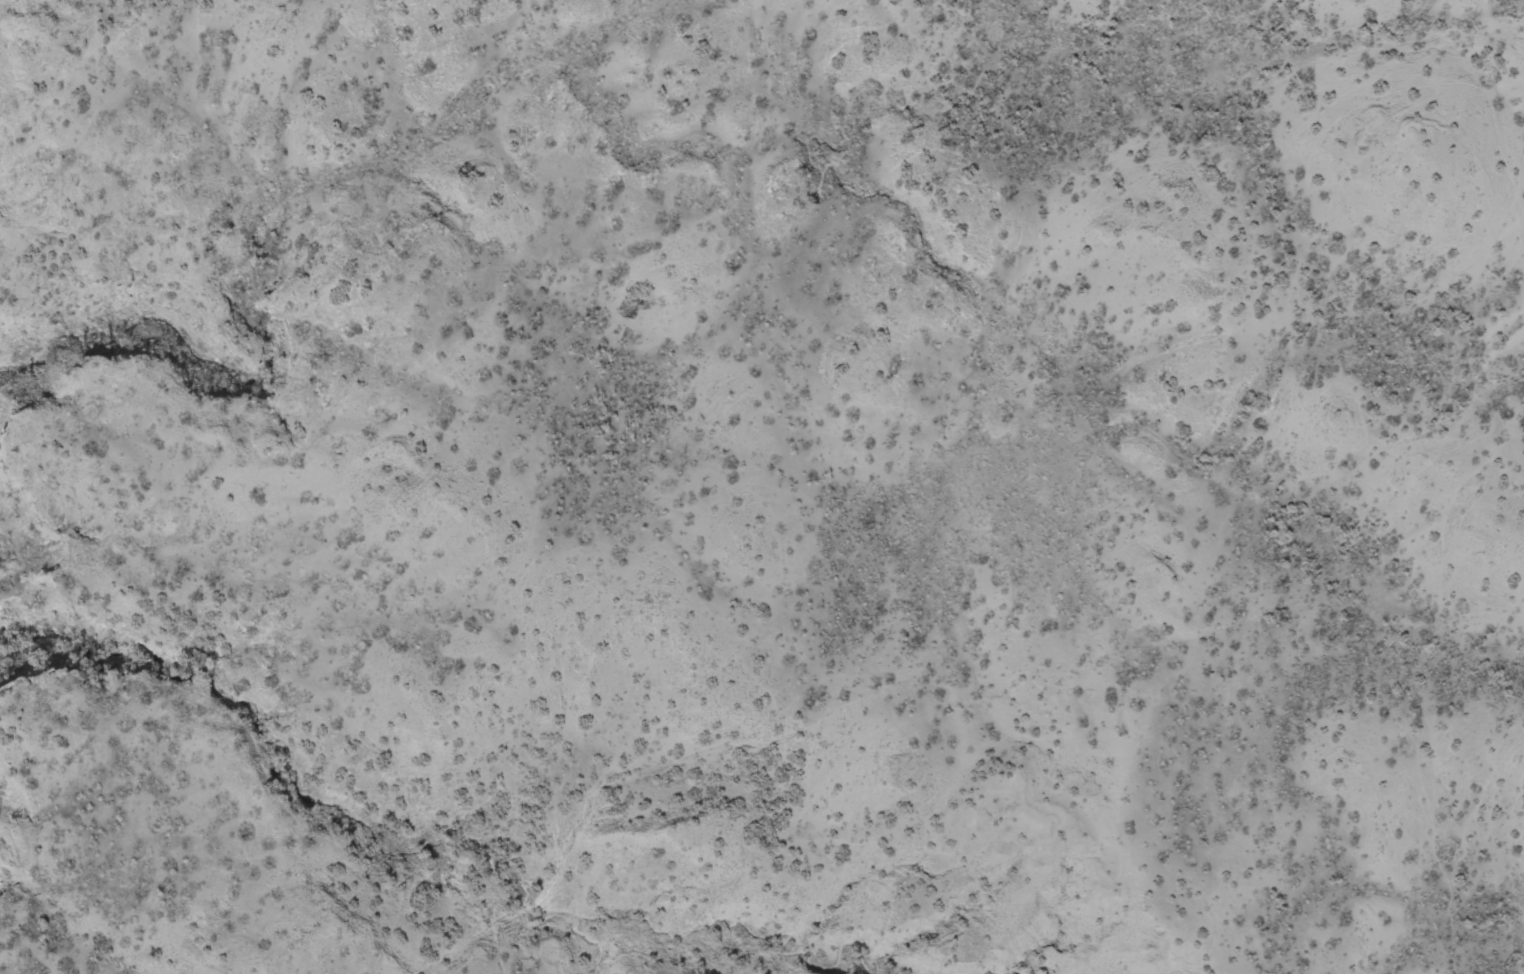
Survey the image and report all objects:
road: (1514, 7)
road: (1517, 947)

